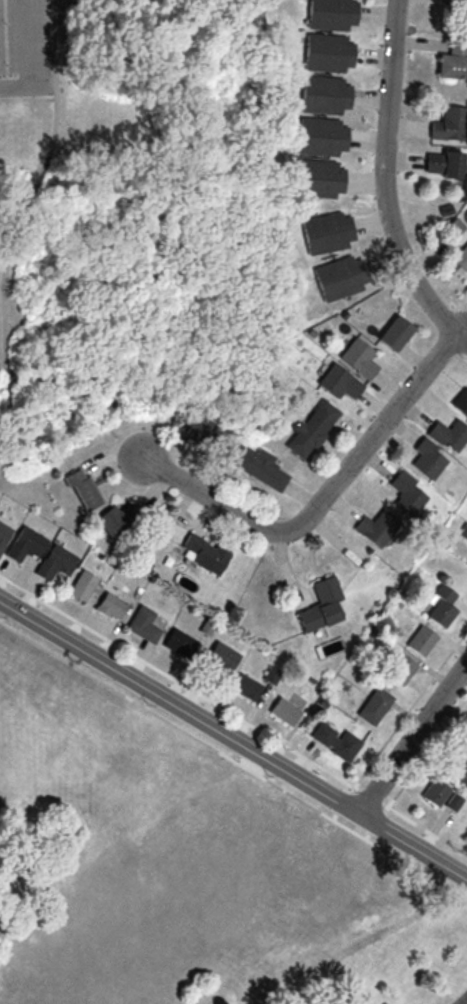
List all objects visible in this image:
building: (328, 14)
parking lot: (25, 48)
building: (325, 52)
building: (452, 59)
road: (33, 61)
building: (321, 94)
road: (39, 100)
building: (447, 123)
building: (318, 136)
building: (442, 161)
building: (315, 178)
road: (387, 180)
park: (130, 213)
building: (324, 232)
building: (460, 256)
road: (3, 276)
building: (393, 331)
road: (465, 331)
building: (356, 357)
building: (339, 381)
building: (461, 399)
building: (313, 421)
road: (10, 425)
road: (373, 432)
building: (447, 434)
building: (425, 453)
building: (263, 462)
building: (399, 485)
building: (80, 490)
road: (209, 496)
building: (114, 518)
building: (375, 526)
building: (21, 544)
building: (201, 553)
building: (466, 557)
building: (52, 563)
building: (79, 585)
building: (318, 605)
building: (107, 606)
building: (439, 611)
building: (139, 624)
building: (175, 643)
building: (214, 659)
building: (241, 686)
building: (280, 710)
road: (410, 731)
road: (233, 738)
building: (332, 740)
road: (460, 998)

